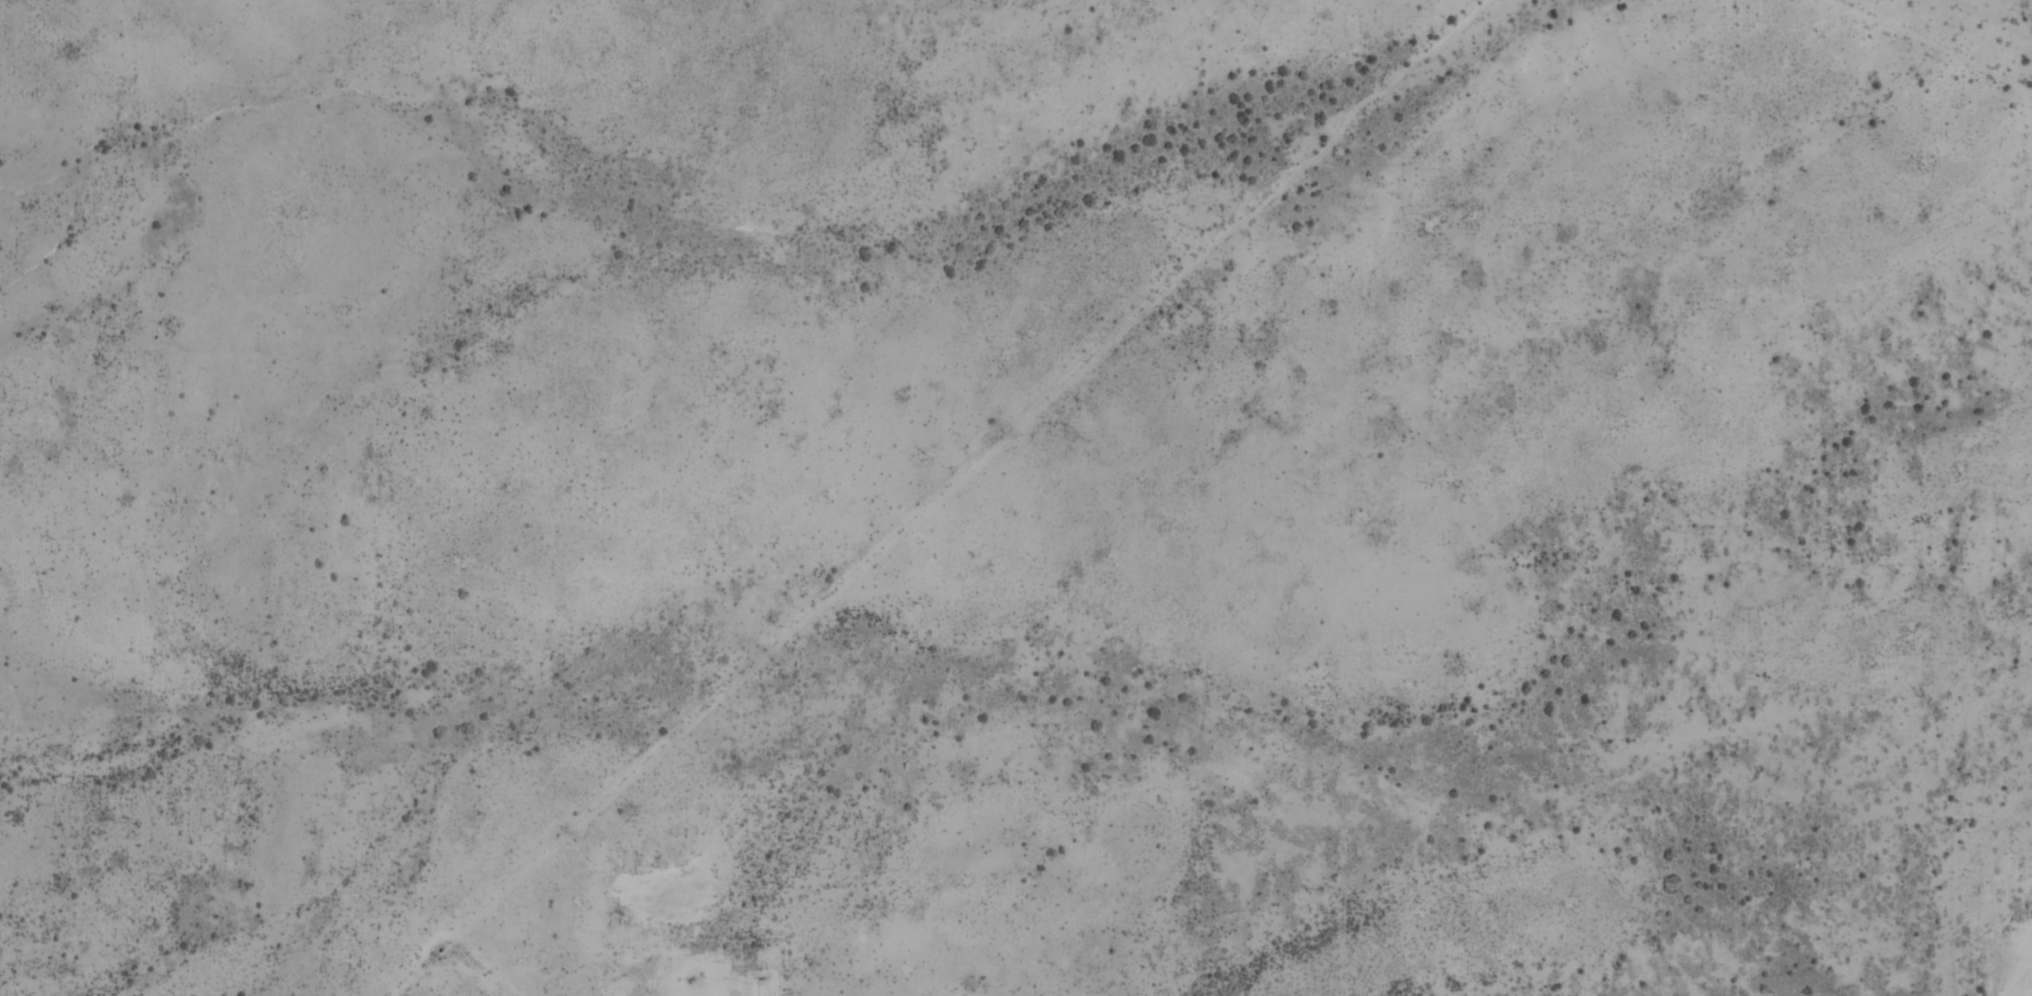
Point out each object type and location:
road: (2018, 983)

